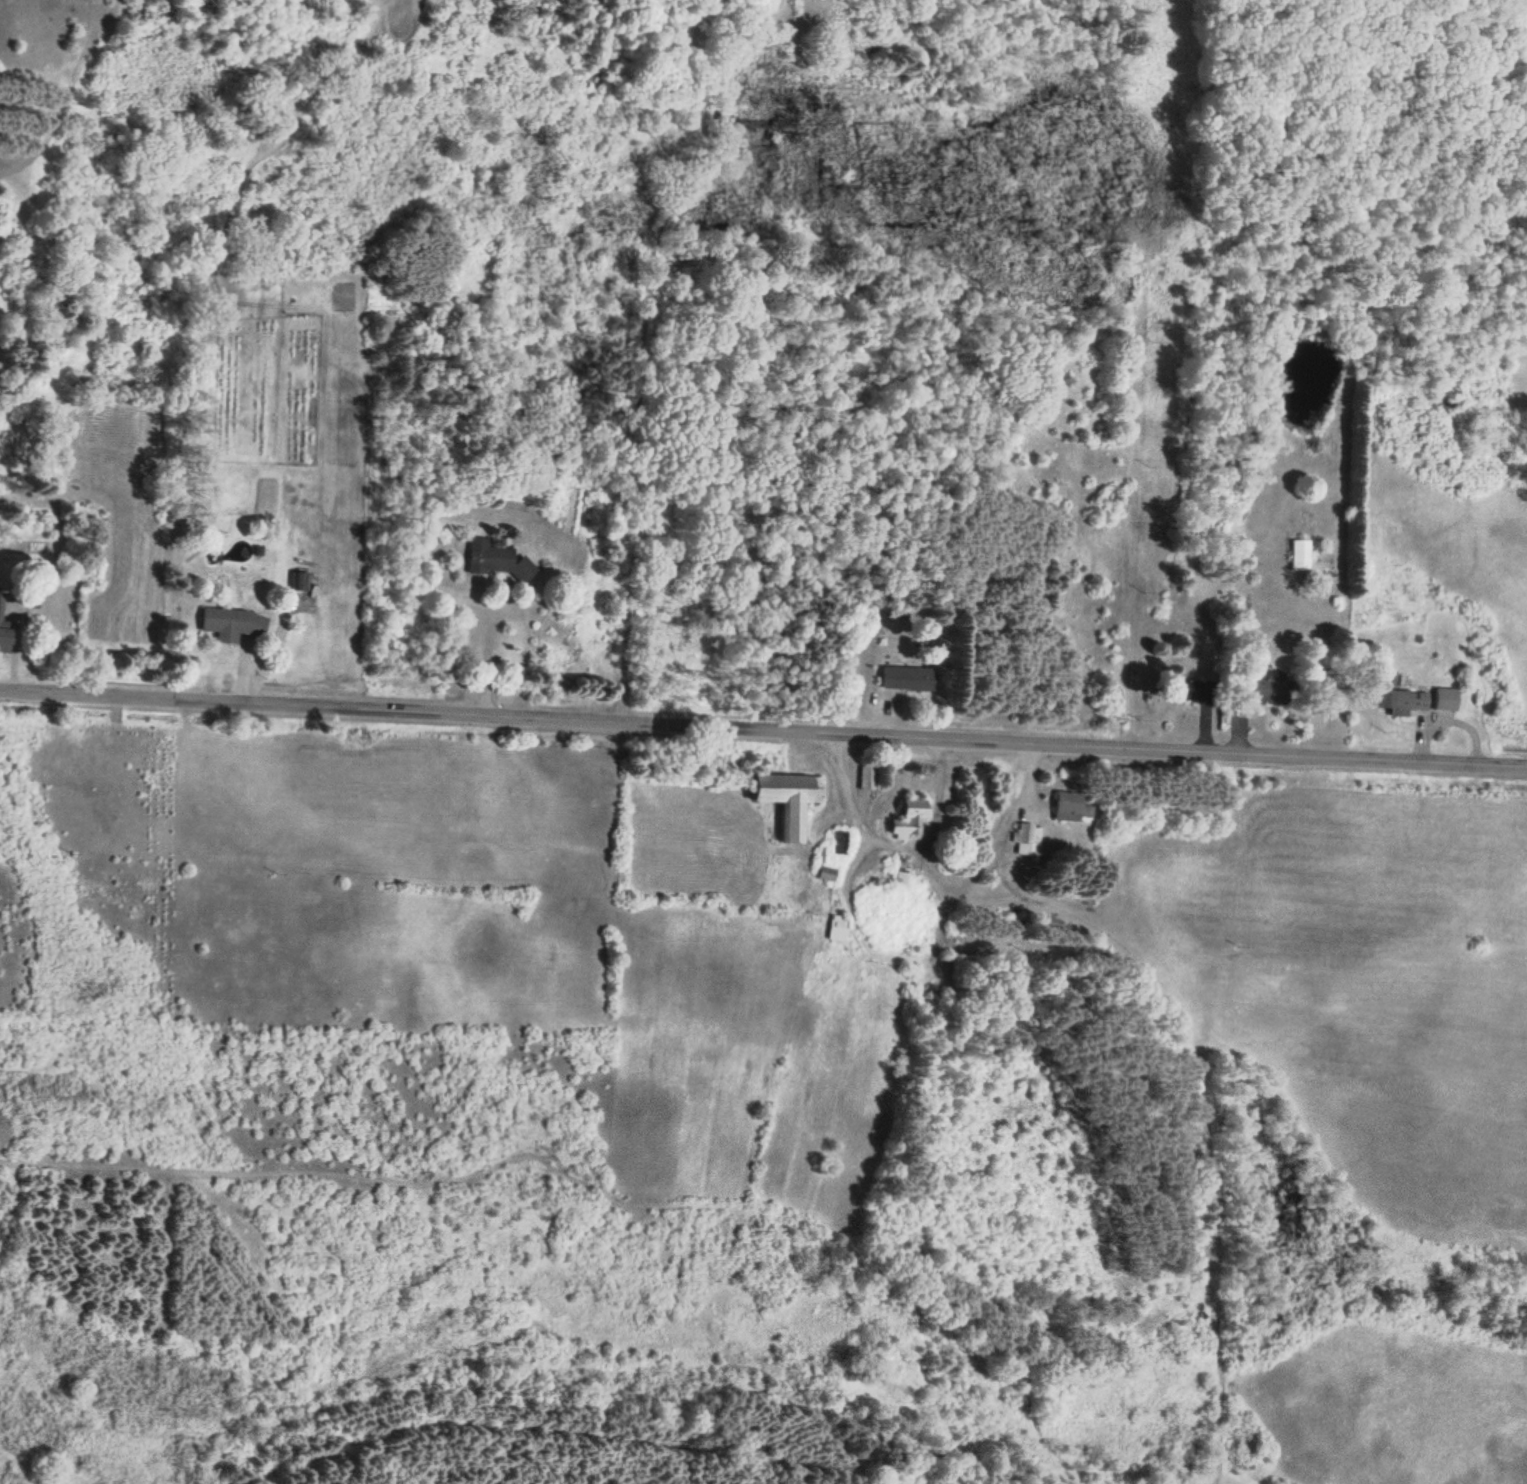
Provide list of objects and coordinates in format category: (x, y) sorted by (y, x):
building: (1294, 555)
building: (486, 557)
building: (234, 624)
building: (6, 639)
building: (902, 678)
building: (1251, 686)
building: (1183, 691)
building: (1409, 701)
road: (763, 727)
building: (862, 778)
building: (780, 801)
building: (1067, 806)
building: (899, 820)
building: (1022, 841)
building: (833, 929)

